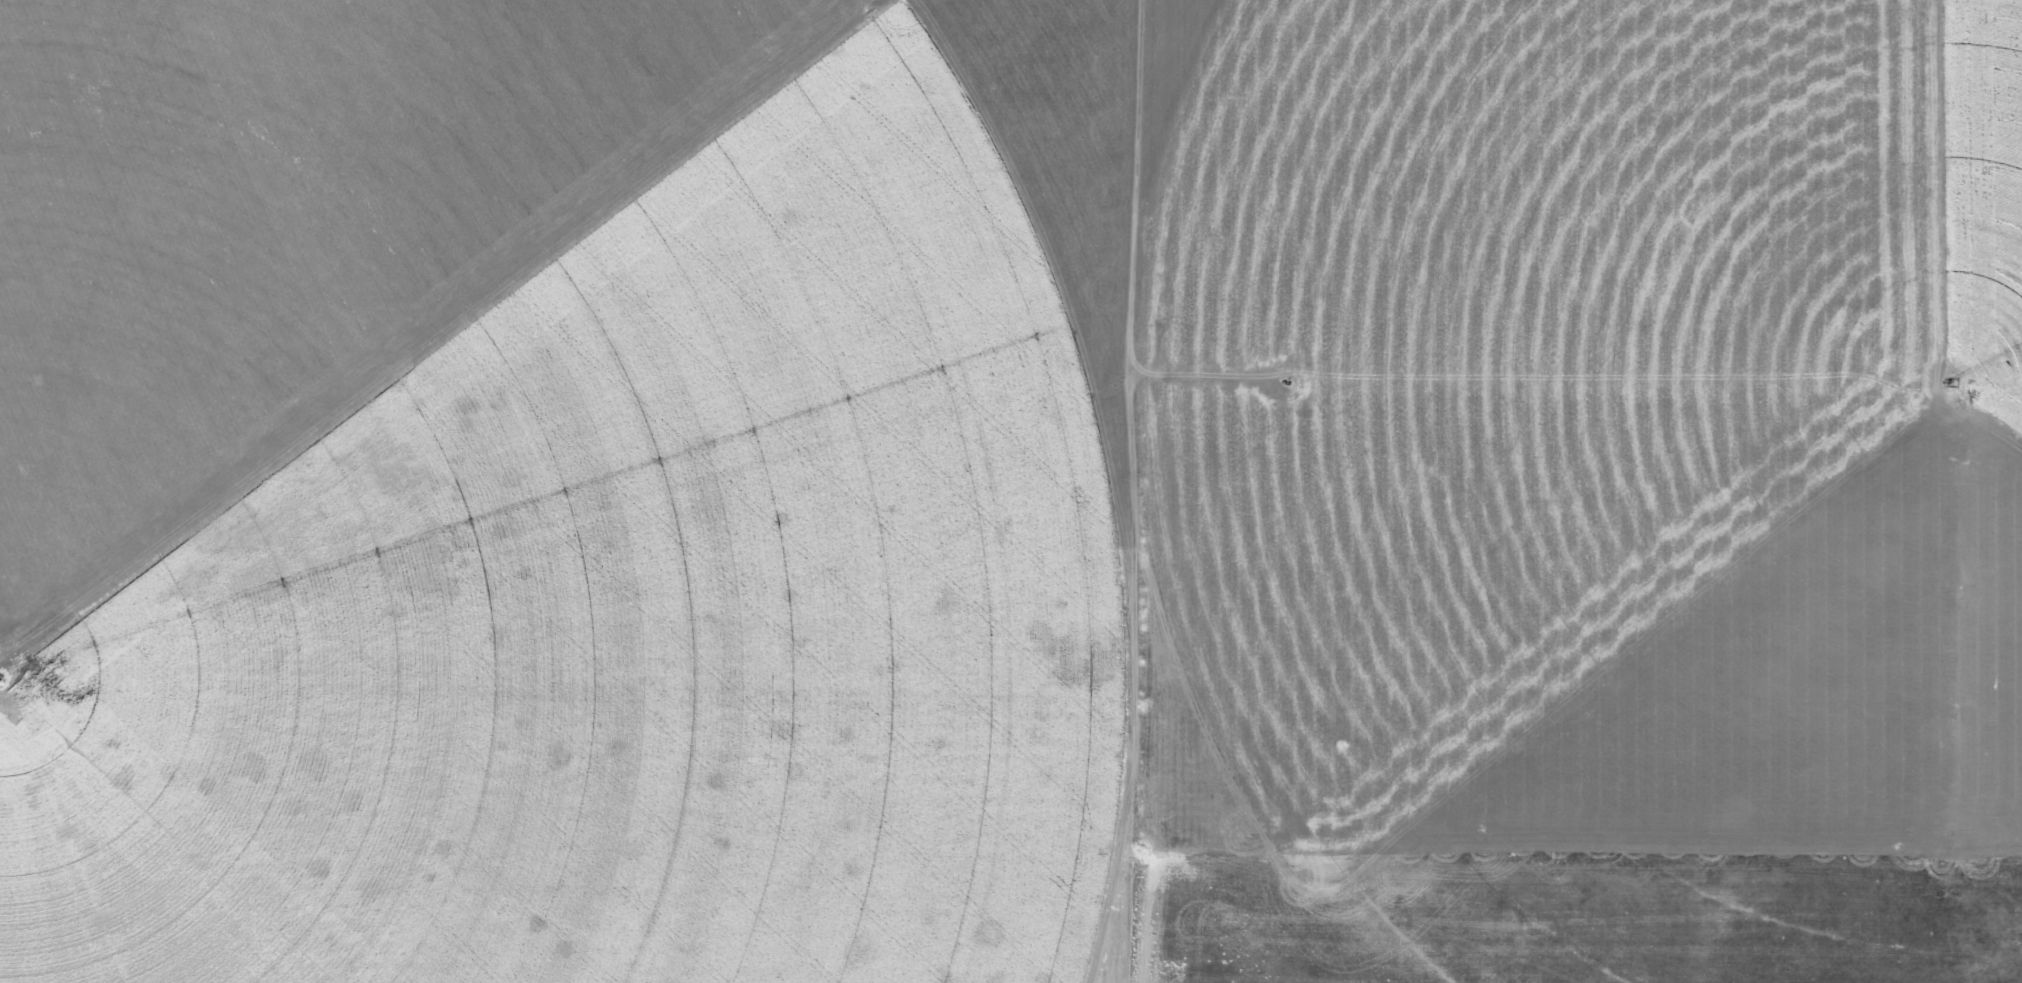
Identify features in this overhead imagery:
road: (1126, 491)

